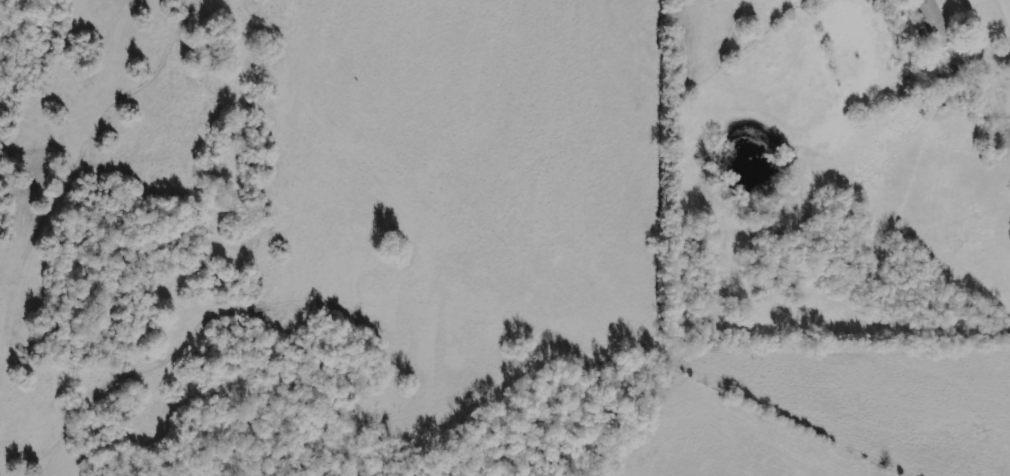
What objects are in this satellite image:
building: (932, 22)

